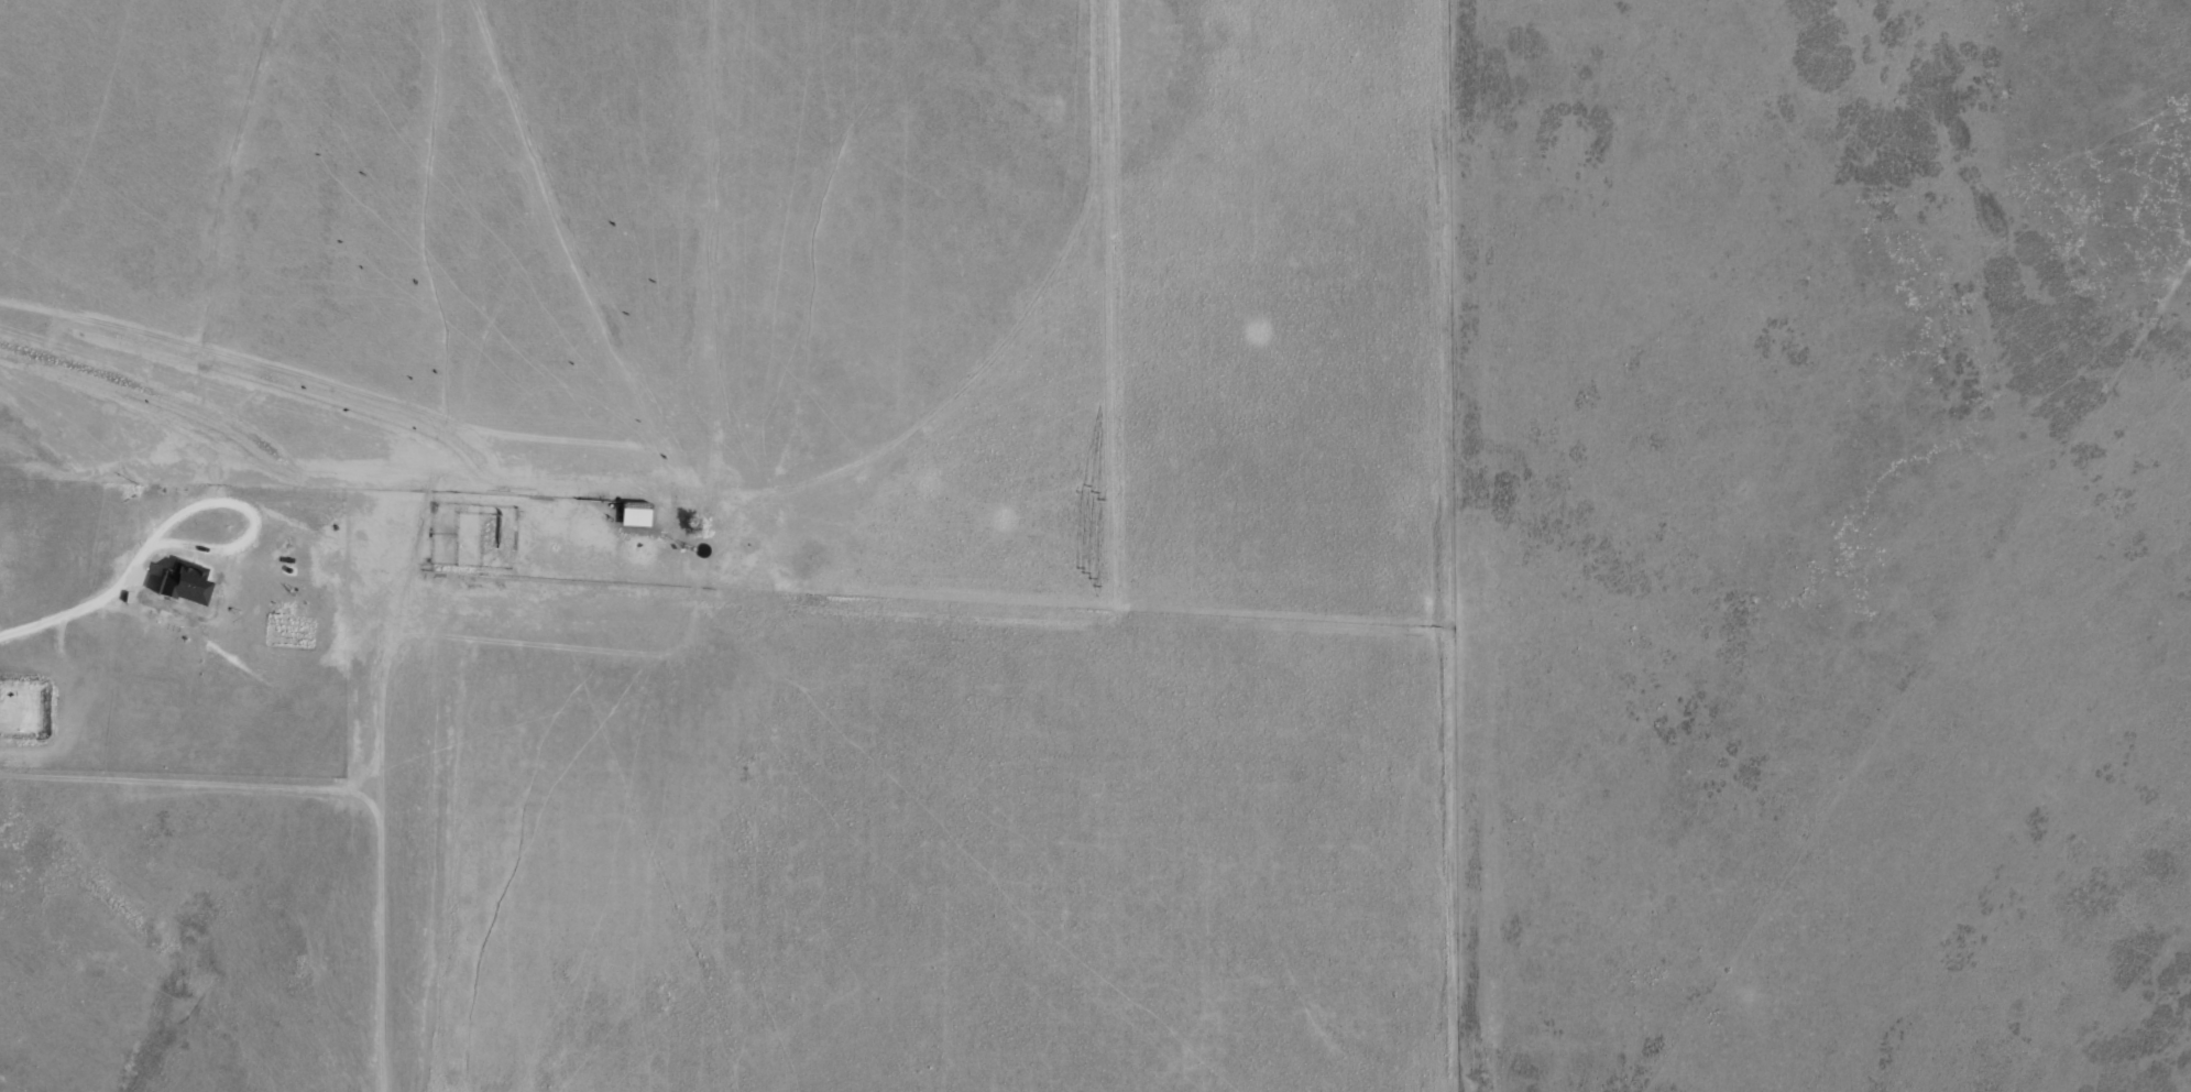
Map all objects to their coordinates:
road: (327, 390)

